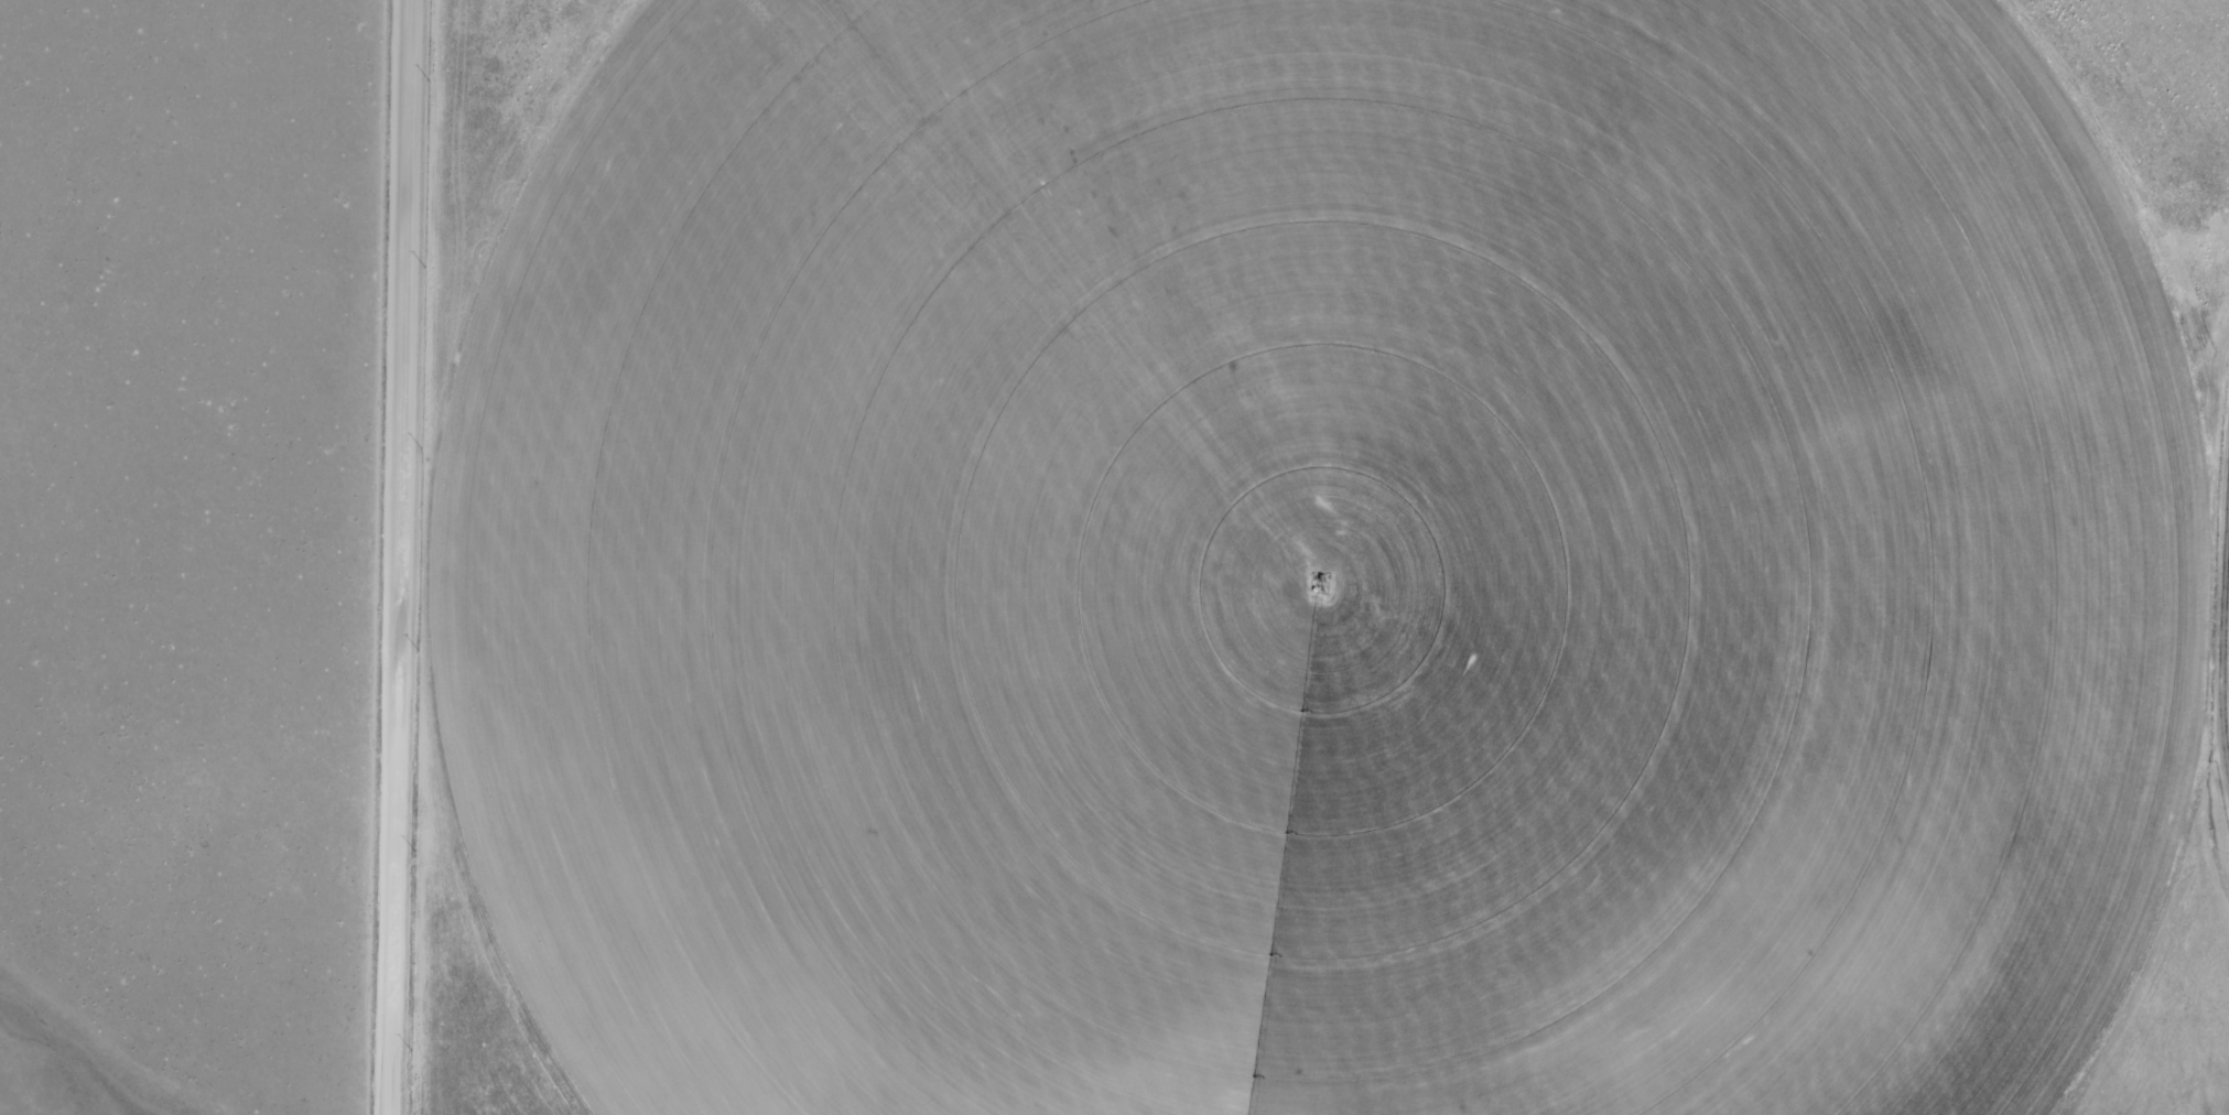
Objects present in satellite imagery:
road: (405, 557)

